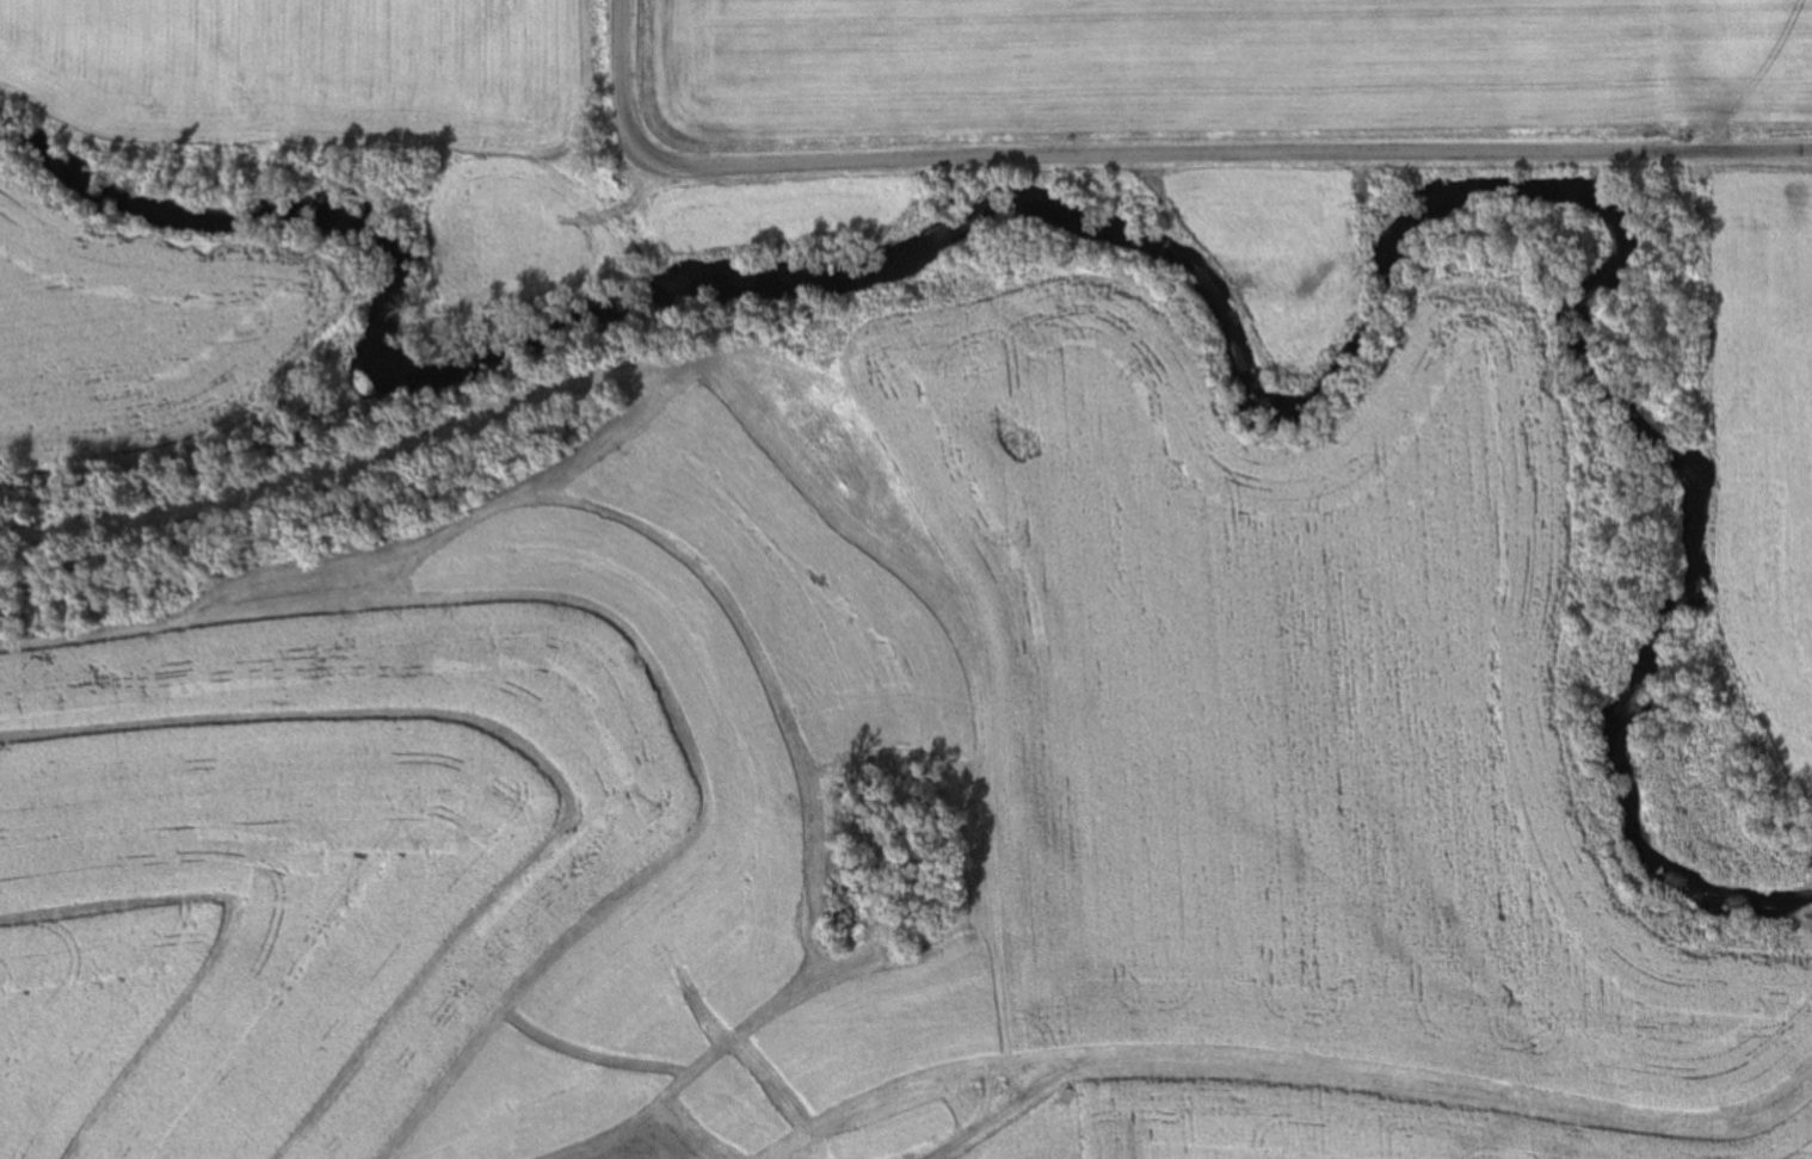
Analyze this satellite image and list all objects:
road: (1150, 152)
river: (1306, 364)

